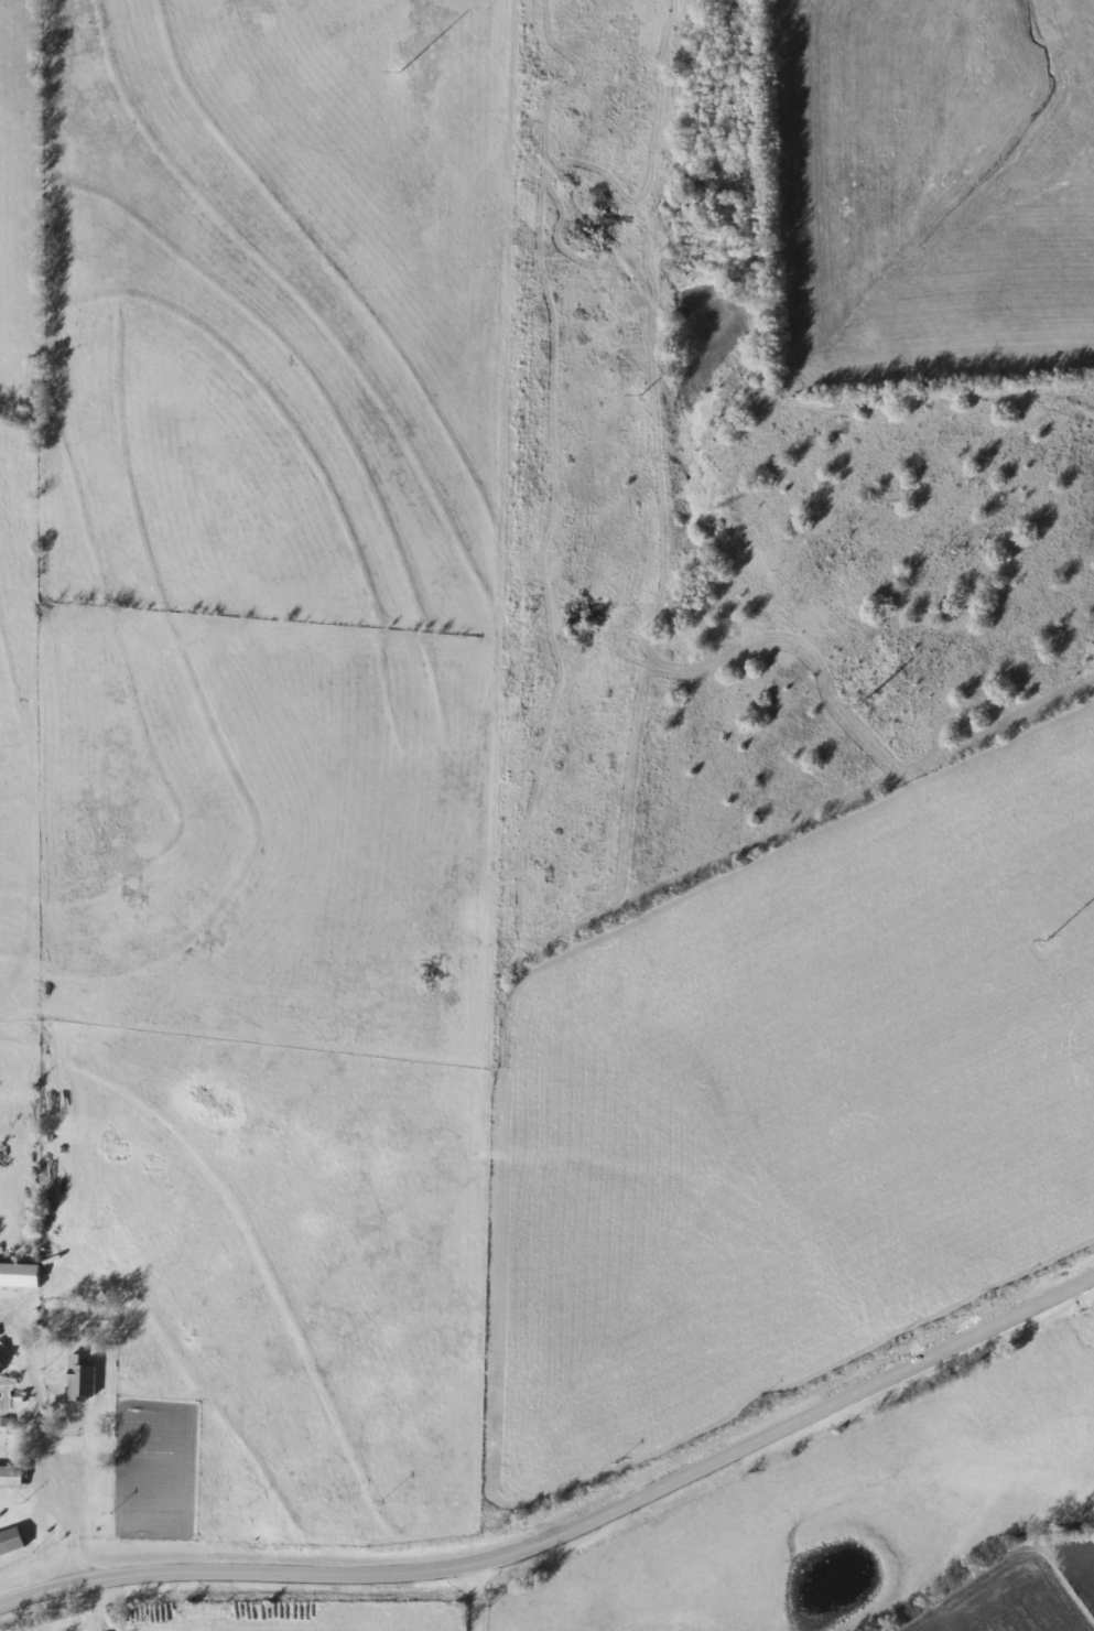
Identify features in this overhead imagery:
building: (20, 1277)
building: (82, 1384)
road: (45, 1452)
building: (11, 1479)
road: (571, 1532)
building: (11, 1544)
road: (470, 1597)
road: (94, 1607)

